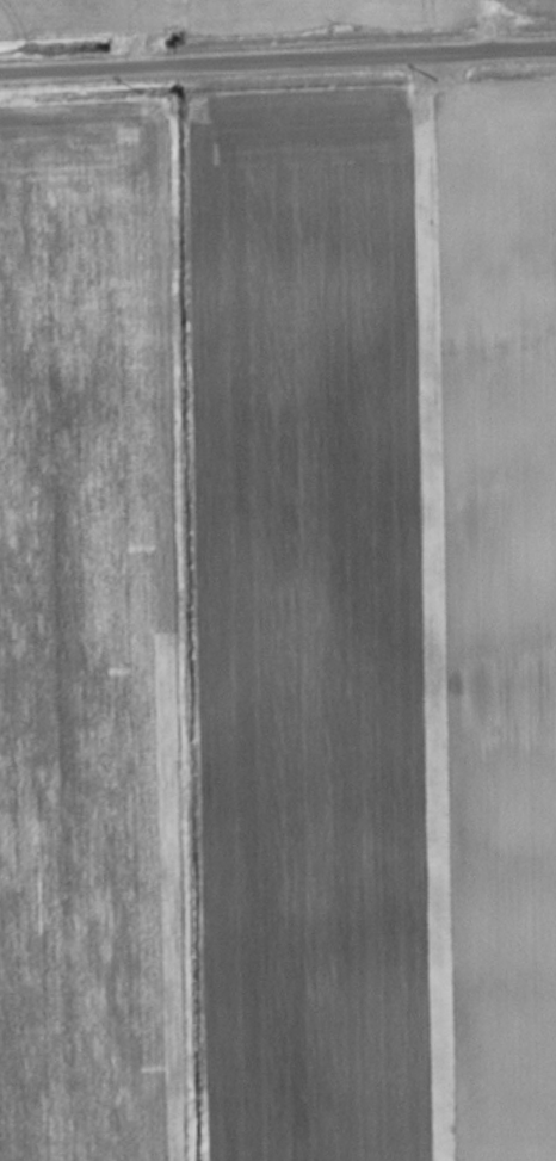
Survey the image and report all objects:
crop: (253, 24)
road: (277, 56)

